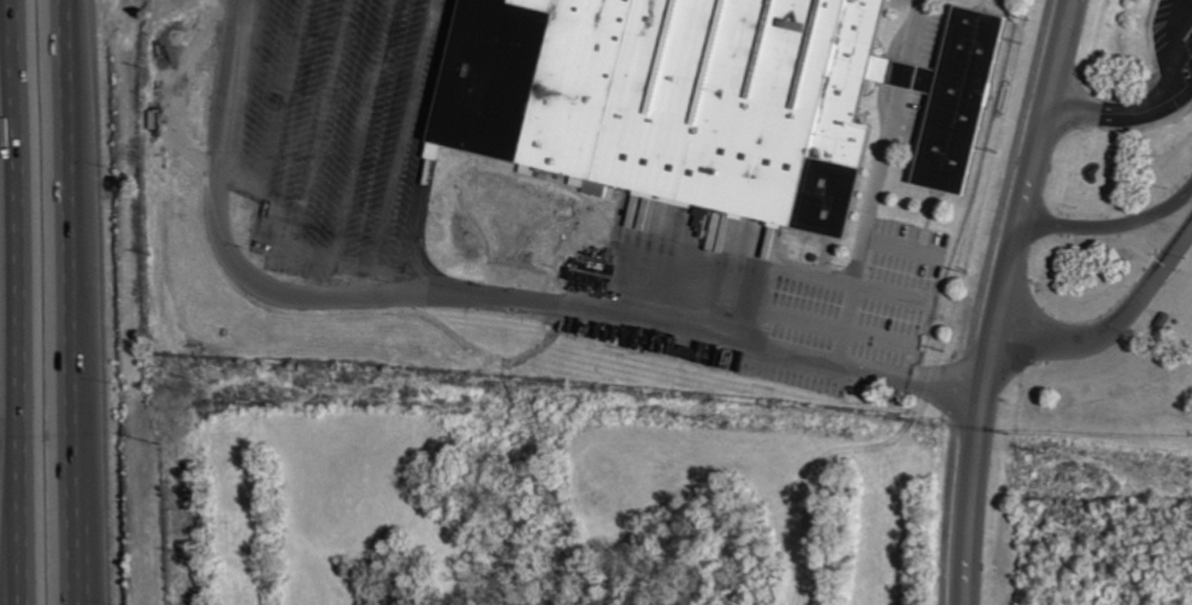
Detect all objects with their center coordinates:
road: (1184, 29)
road: (1174, 54)
building: (633, 95)
road: (1179, 100)
road: (1107, 112)
road: (1010, 177)
road: (1113, 226)
road: (471, 295)
road: (1003, 299)
road: (4, 302)
road: (82, 302)
road: (1115, 326)
road: (961, 390)
road: (92, 449)
road: (948, 515)
road: (4, 579)

